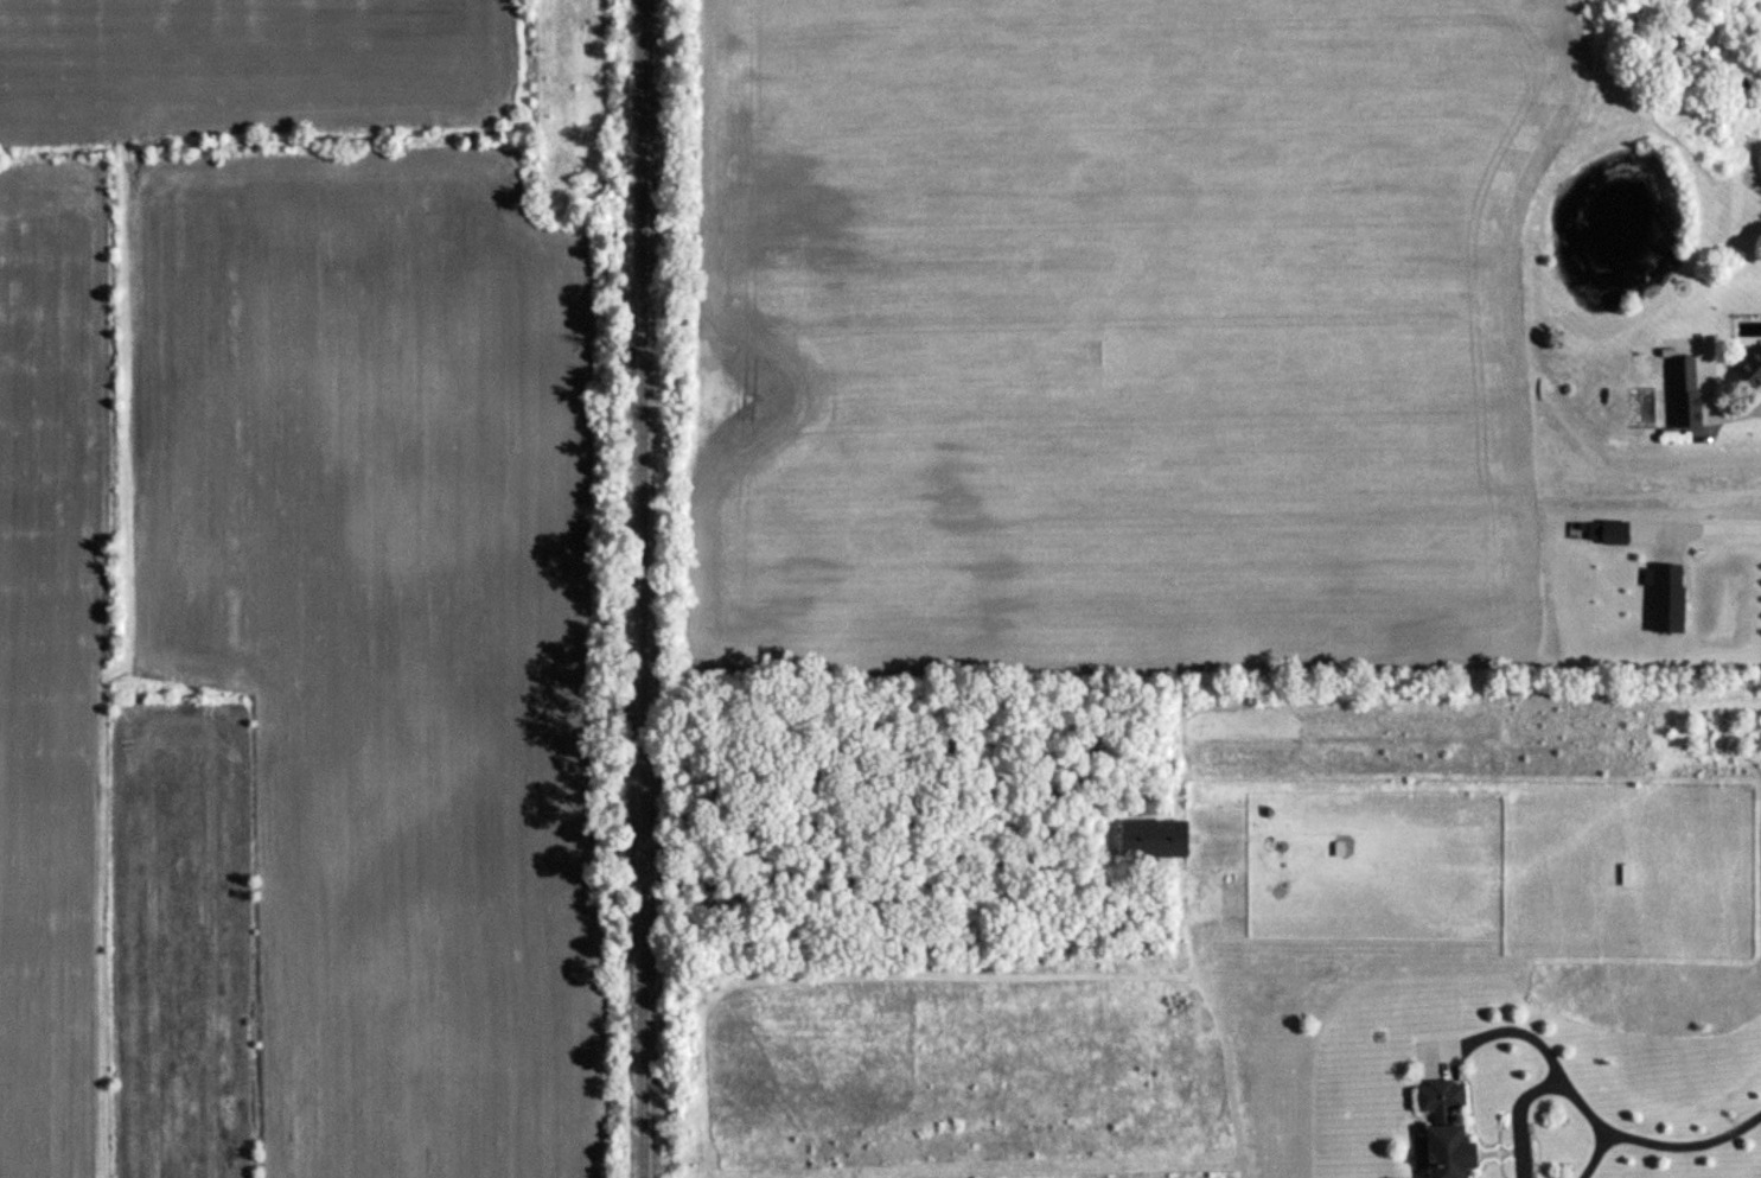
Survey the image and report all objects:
building: (1750, 365)
road: (1760, 378)
building: (1683, 394)
road: (1715, 523)
railway: (642, 588)
building: (1148, 841)
road: (1526, 1088)
building: (1440, 1131)
road: (1684, 1141)
road: (1584, 1153)

